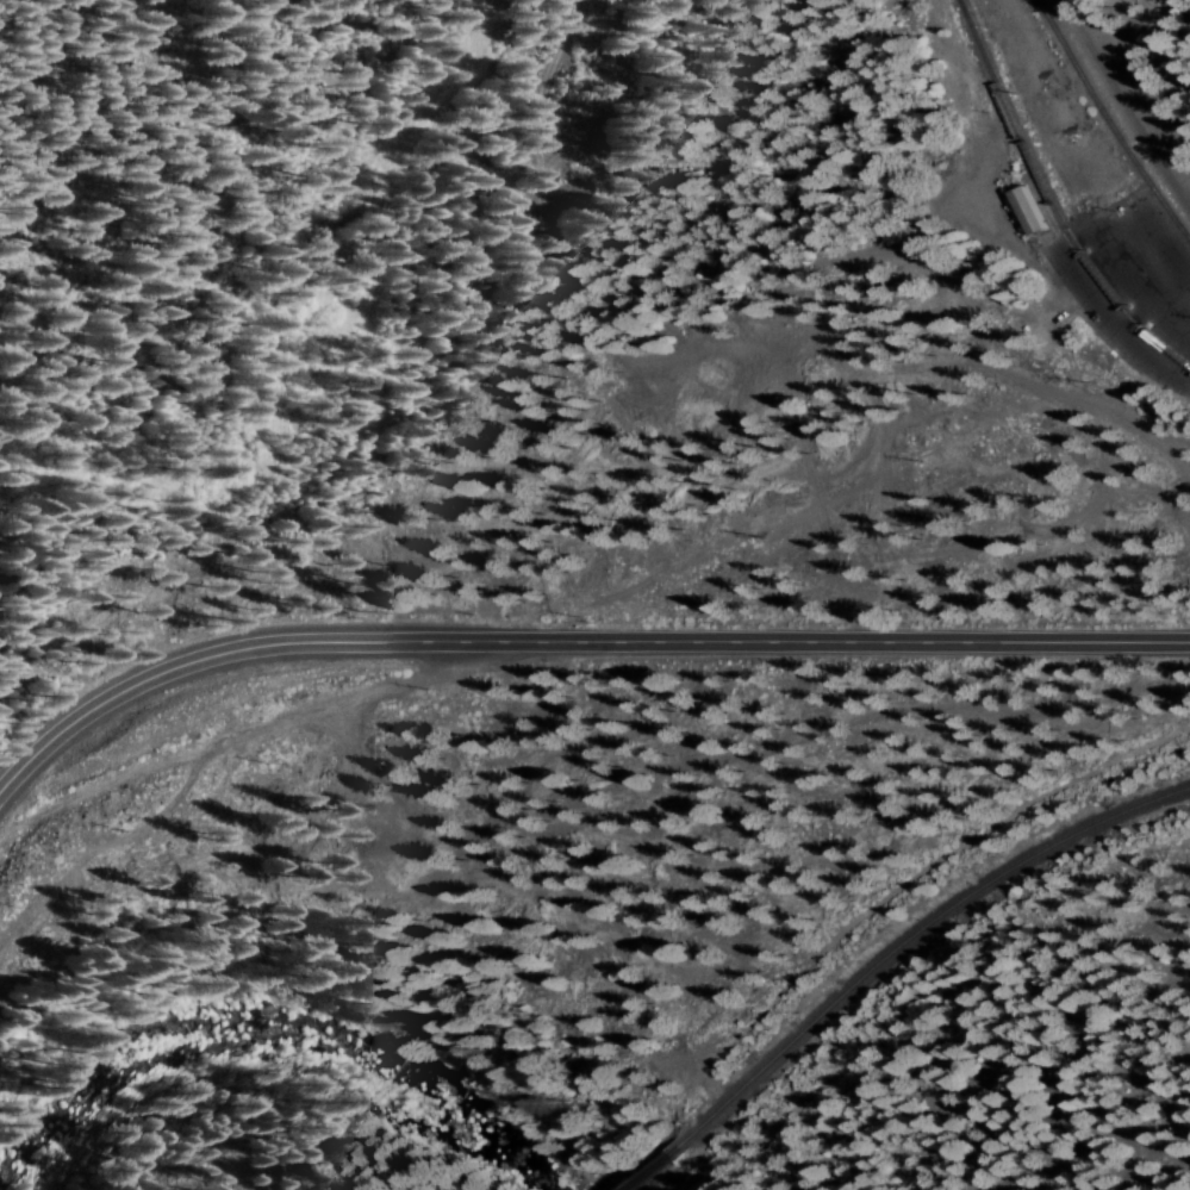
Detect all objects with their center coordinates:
railway: (1109, 122)
railway: (1049, 201)
building: (1022, 208)
road: (1110, 318)
road: (709, 403)
road: (578, 643)
railway: (912, 937)
railway: (650, 1169)

